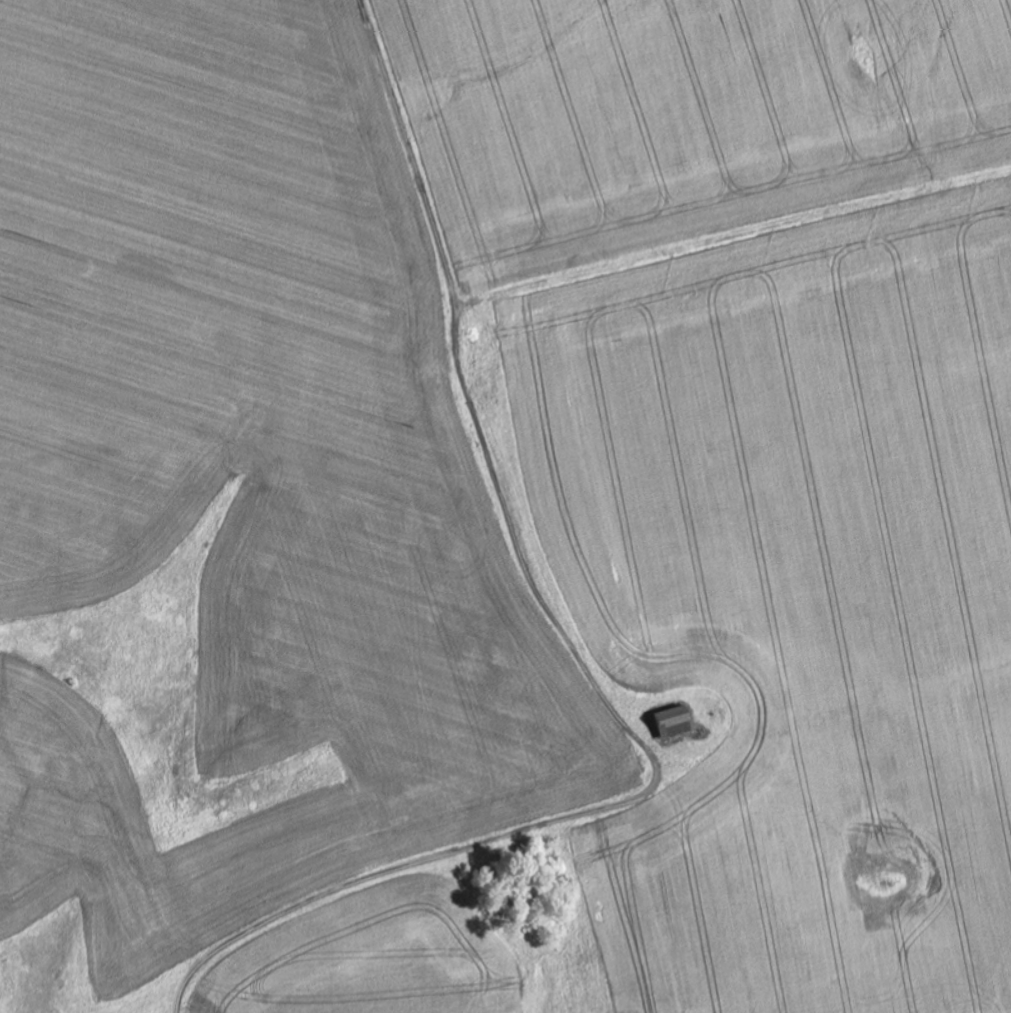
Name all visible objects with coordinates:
road: (595, 656)
building: (668, 724)

